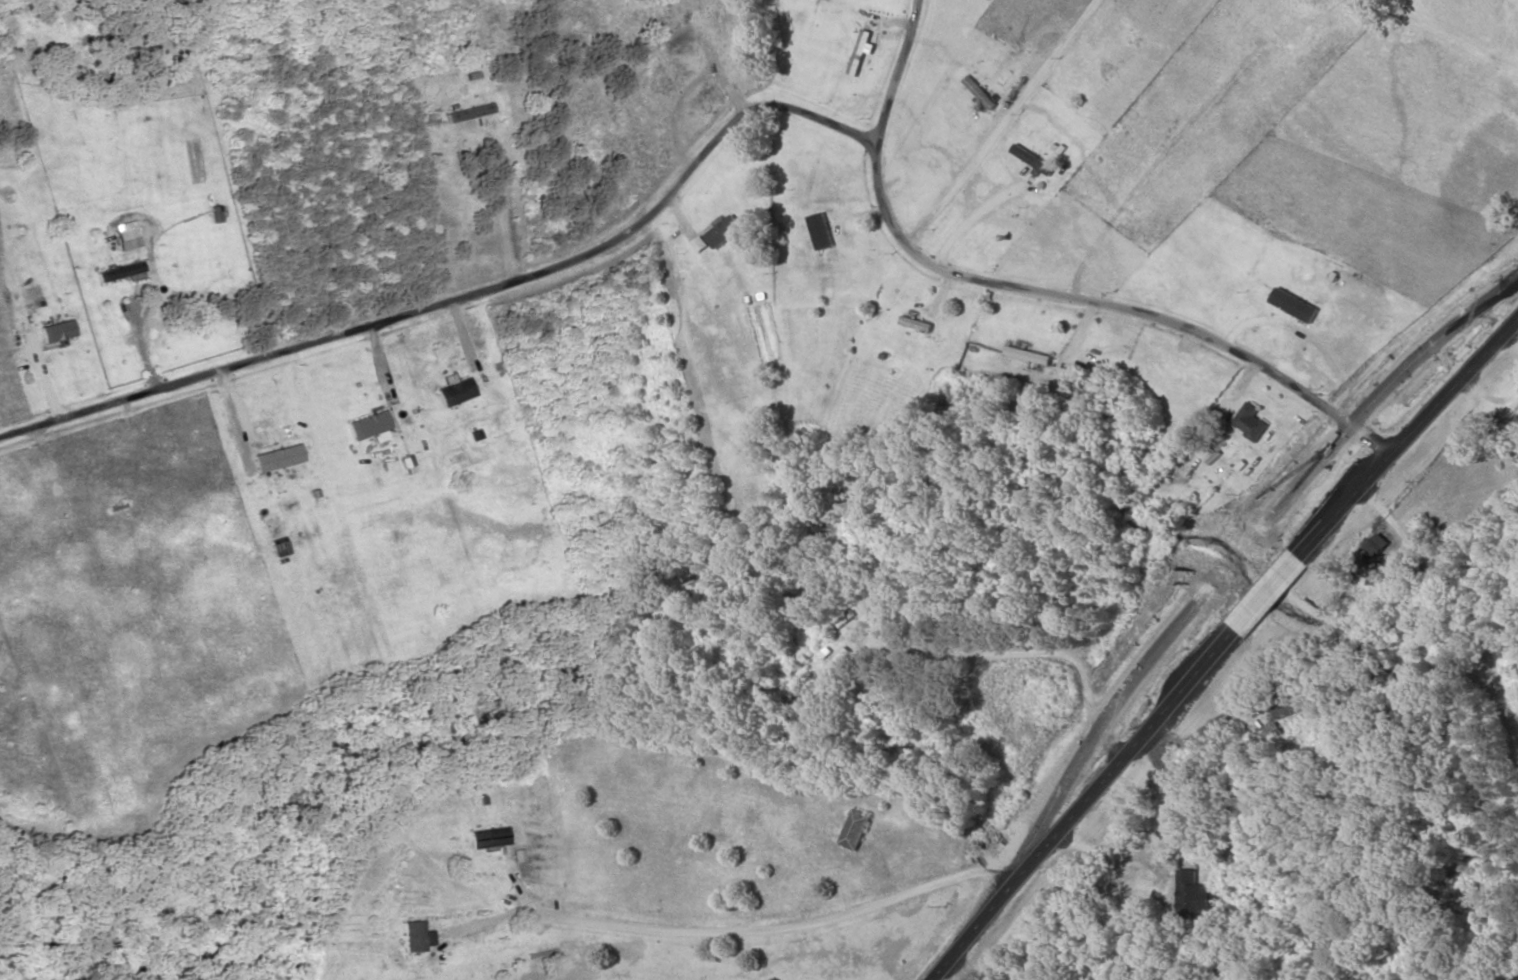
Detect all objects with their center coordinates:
building: (1304, 39)
building: (681, 40)
building: (863, 54)
building: (471, 114)
building: (824, 232)
building: (724, 235)
building: (125, 274)
building: (1297, 306)
building: (920, 325)
building: (59, 332)
building: (1033, 356)
building: (457, 393)
building: (1254, 423)
building: (370, 426)
building: (1517, 429)
road: (1451, 587)
road: (1222, 647)
building: (840, 662)
building: (1274, 733)
building: (859, 830)
building: (1202, 898)
road: (988, 969)

